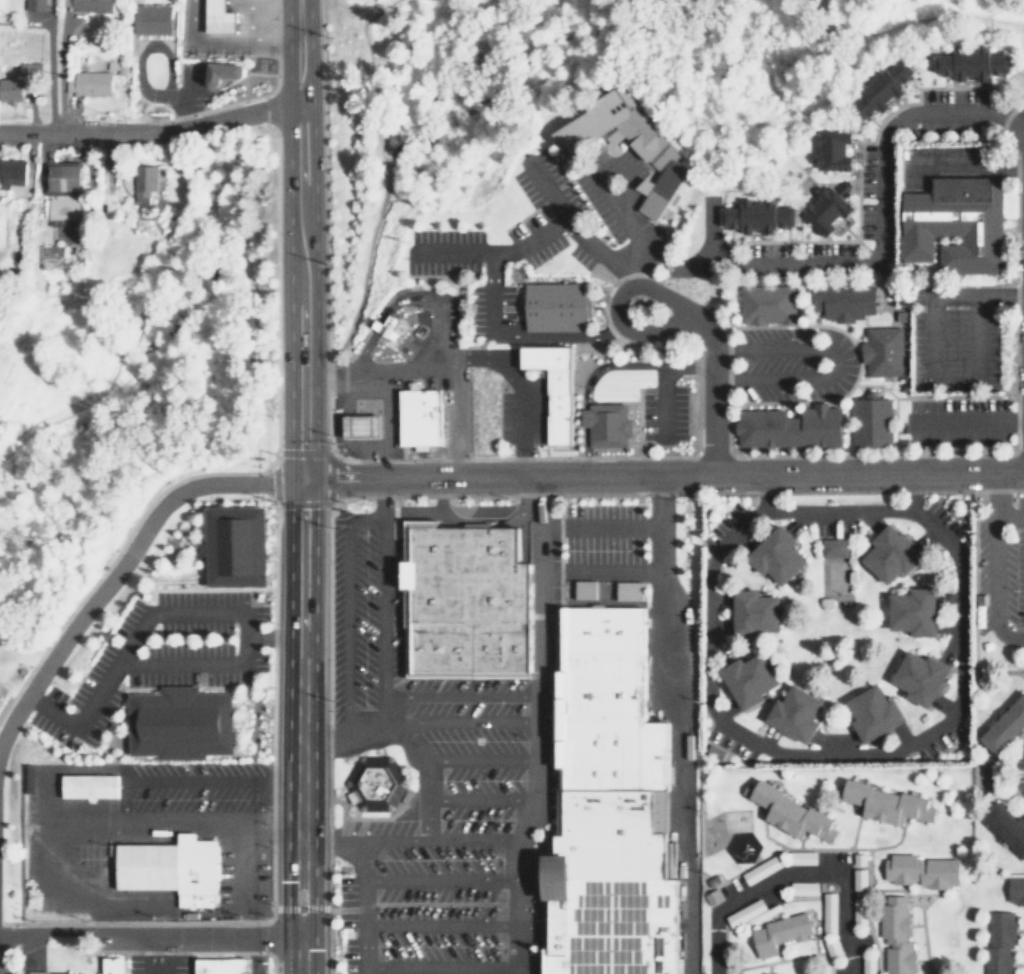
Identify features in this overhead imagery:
building: (36, 5)
building: (89, 5)
road: (362, 14)
building: (216, 16)
building: (153, 19)
park: (435, 45)
building: (968, 62)
building: (224, 72)
road: (514, 74)
building: (94, 79)
building: (20, 82)
building: (879, 89)
road: (919, 92)
road: (996, 102)
road: (218, 107)
road: (151, 134)
building: (626, 141)
road: (209, 147)
building: (830, 149)
road: (861, 153)
road: (572, 162)
road: (600, 162)
parking lot: (627, 163)
building: (12, 171)
road: (382, 176)
building: (64, 177)
road: (324, 177)
building: (144, 181)
parking lot: (543, 184)
road: (544, 187)
road: (623, 193)
road: (203, 206)
parking lot: (597, 208)
building: (63, 209)
building: (827, 210)
building: (754, 217)
road: (858, 223)
building: (952, 223)
road: (881, 228)
road: (637, 230)
road: (533, 237)
parking lot: (532, 238)
road: (272, 241)
parking lot: (653, 244)
parking lot: (440, 251)
building: (51, 256)
parking lot: (578, 256)
road: (1016, 273)
road: (626, 274)
road: (965, 284)
road: (1002, 294)
road: (394, 300)
building: (843, 303)
building: (764, 304)
building: (552, 307)
road: (678, 307)
parking lot: (487, 311)
road: (810, 324)
building: (379, 325)
road: (868, 325)
building: (389, 326)
road: (514, 334)
parking lot: (954, 349)
building: (883, 353)
road: (457, 355)
road: (432, 356)
parking lot: (791, 363)
road: (833, 363)
road: (632, 365)
road: (928, 376)
road: (728, 378)
building: (550, 386)
road: (520, 396)
road: (662, 399)
road: (817, 401)
road: (895, 411)
parking lot: (663, 412)
parking lot: (518, 415)
road: (326, 416)
building: (420, 418)
building: (869, 419)
road: (968, 420)
parking lot: (955, 421)
building: (603, 424)
building: (819, 426)
building: (363, 427)
gas station: (363, 427)
building: (765, 430)
road: (285, 451)
road: (581, 451)
road: (312, 452)
road: (674, 456)
road: (661, 474)
traffic signals: (299, 480)
road: (299, 486)
road: (763, 490)
road: (908, 490)
road: (326, 491)
road: (674, 493)
road: (382, 498)
road: (288, 504)
road: (469, 524)
road: (597, 524)
building: (232, 544)
building: (833, 546)
building: (774, 554)
building: (888, 554)
road: (113, 559)
road: (122, 563)
parking lot: (1001, 567)
road: (597, 573)
park: (837, 577)
road: (167, 581)
road: (532, 586)
building: (586, 588)
building: (638, 588)
road: (214, 589)
building: (462, 603)
road: (381, 607)
road: (974, 608)
road: (346, 610)
road: (189, 613)
building: (911, 613)
building: (751, 614)
road: (272, 635)
building: (918, 677)
building: (746, 681)
road: (457, 696)
building: (871, 713)
building: (794, 714)
road: (272, 718)
building: (183, 719)
road: (467, 720)
road: (679, 723)
building: (1004, 725)
road: (374, 729)
road: (330, 736)
road: (323, 739)
road: (560, 741)
road: (898, 751)
road: (424, 760)
road: (478, 760)
road: (532, 769)
road: (1008, 770)
building: (371, 783)
building: (91, 785)
road: (478, 800)
building: (884, 803)
building: (610, 811)
building: (787, 811)
road: (1020, 817)
park: (737, 820)
building: (1004, 826)
road: (241, 834)
road: (853, 834)
road: (437, 838)
road: (766, 838)
road: (330, 840)
road: (797, 844)
road: (879, 846)
road: (842, 849)
building: (171, 870)
building: (918, 870)
road: (793, 874)
parking lot: (241, 875)
building: (860, 878)
road: (438, 879)
road: (884, 889)
building: (1015, 890)
road: (912, 894)
road: (925, 894)
building: (711, 896)
road: (362, 906)
road: (515, 906)
road: (137, 922)
road: (438, 922)
road: (916, 925)
road: (921, 929)
road: (811, 932)
road: (1020, 932)
building: (776, 935)
road: (150, 936)
building: (896, 937)
building: (999, 942)
road: (724, 947)
road: (187, 952)
road: (155, 955)
road: (236, 955)
road: (273, 955)
road: (784, 959)
road: (920, 960)
building: (238, 964)
building: (114, 965)
building: (213, 965)
road: (1018, 965)
road: (441, 968)
road: (767, 968)
road: (925, 969)
building: (49, 972)
building: (765, 973)

